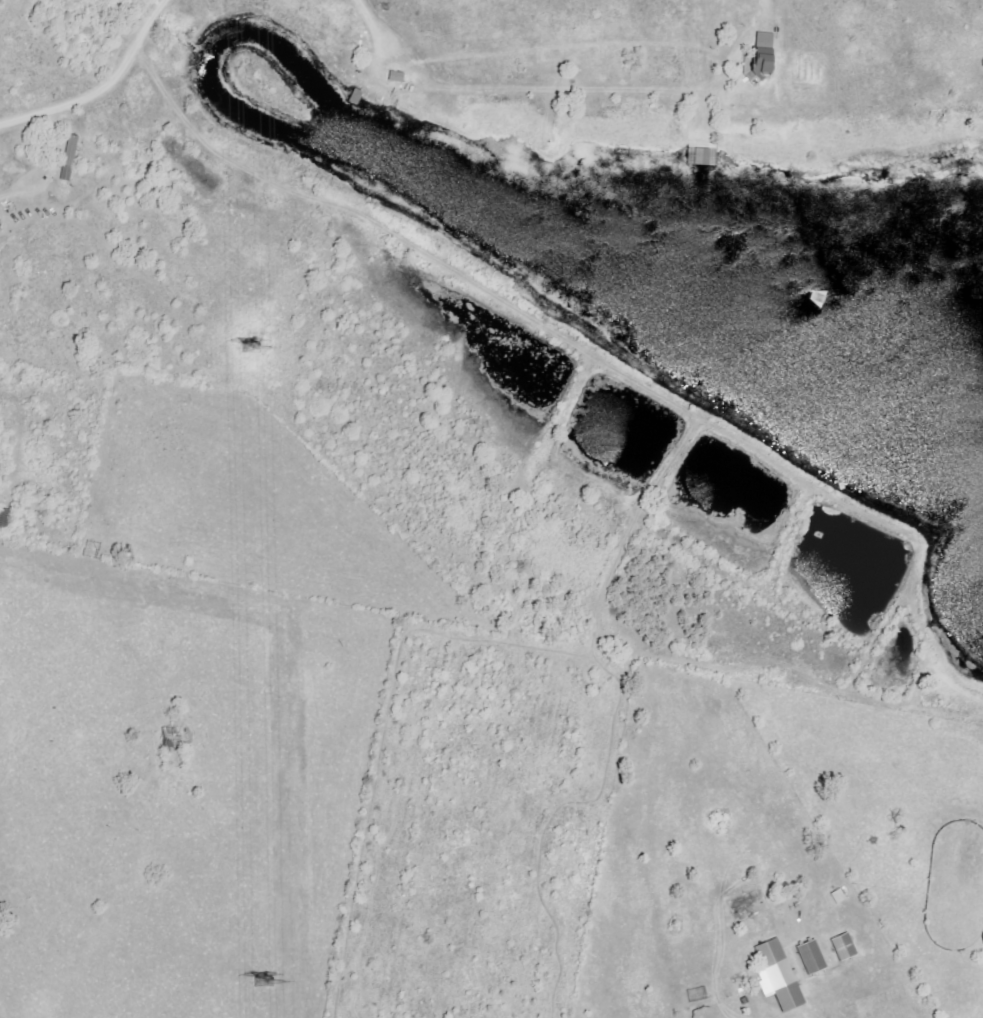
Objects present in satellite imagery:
building: (760, 54)
building: (702, 157)
building: (68, 158)
power tower: (250, 347)
building: (843, 947)
building: (810, 957)
building: (777, 976)
power tower: (265, 981)

